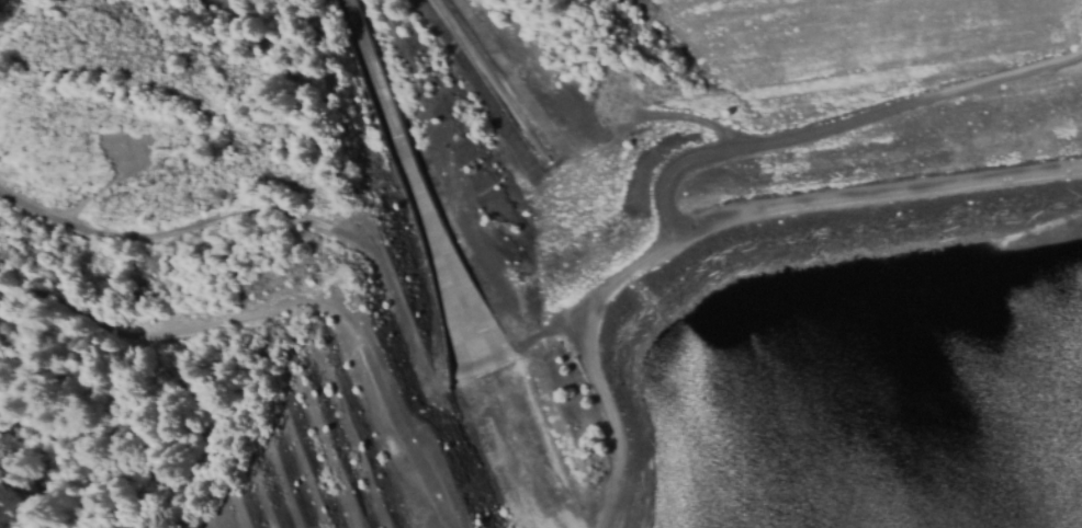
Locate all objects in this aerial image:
road: (744, 144)
road: (876, 192)
road: (250, 220)
dam: (754, 280)
road: (289, 307)
dam: (504, 366)
road: (606, 411)

